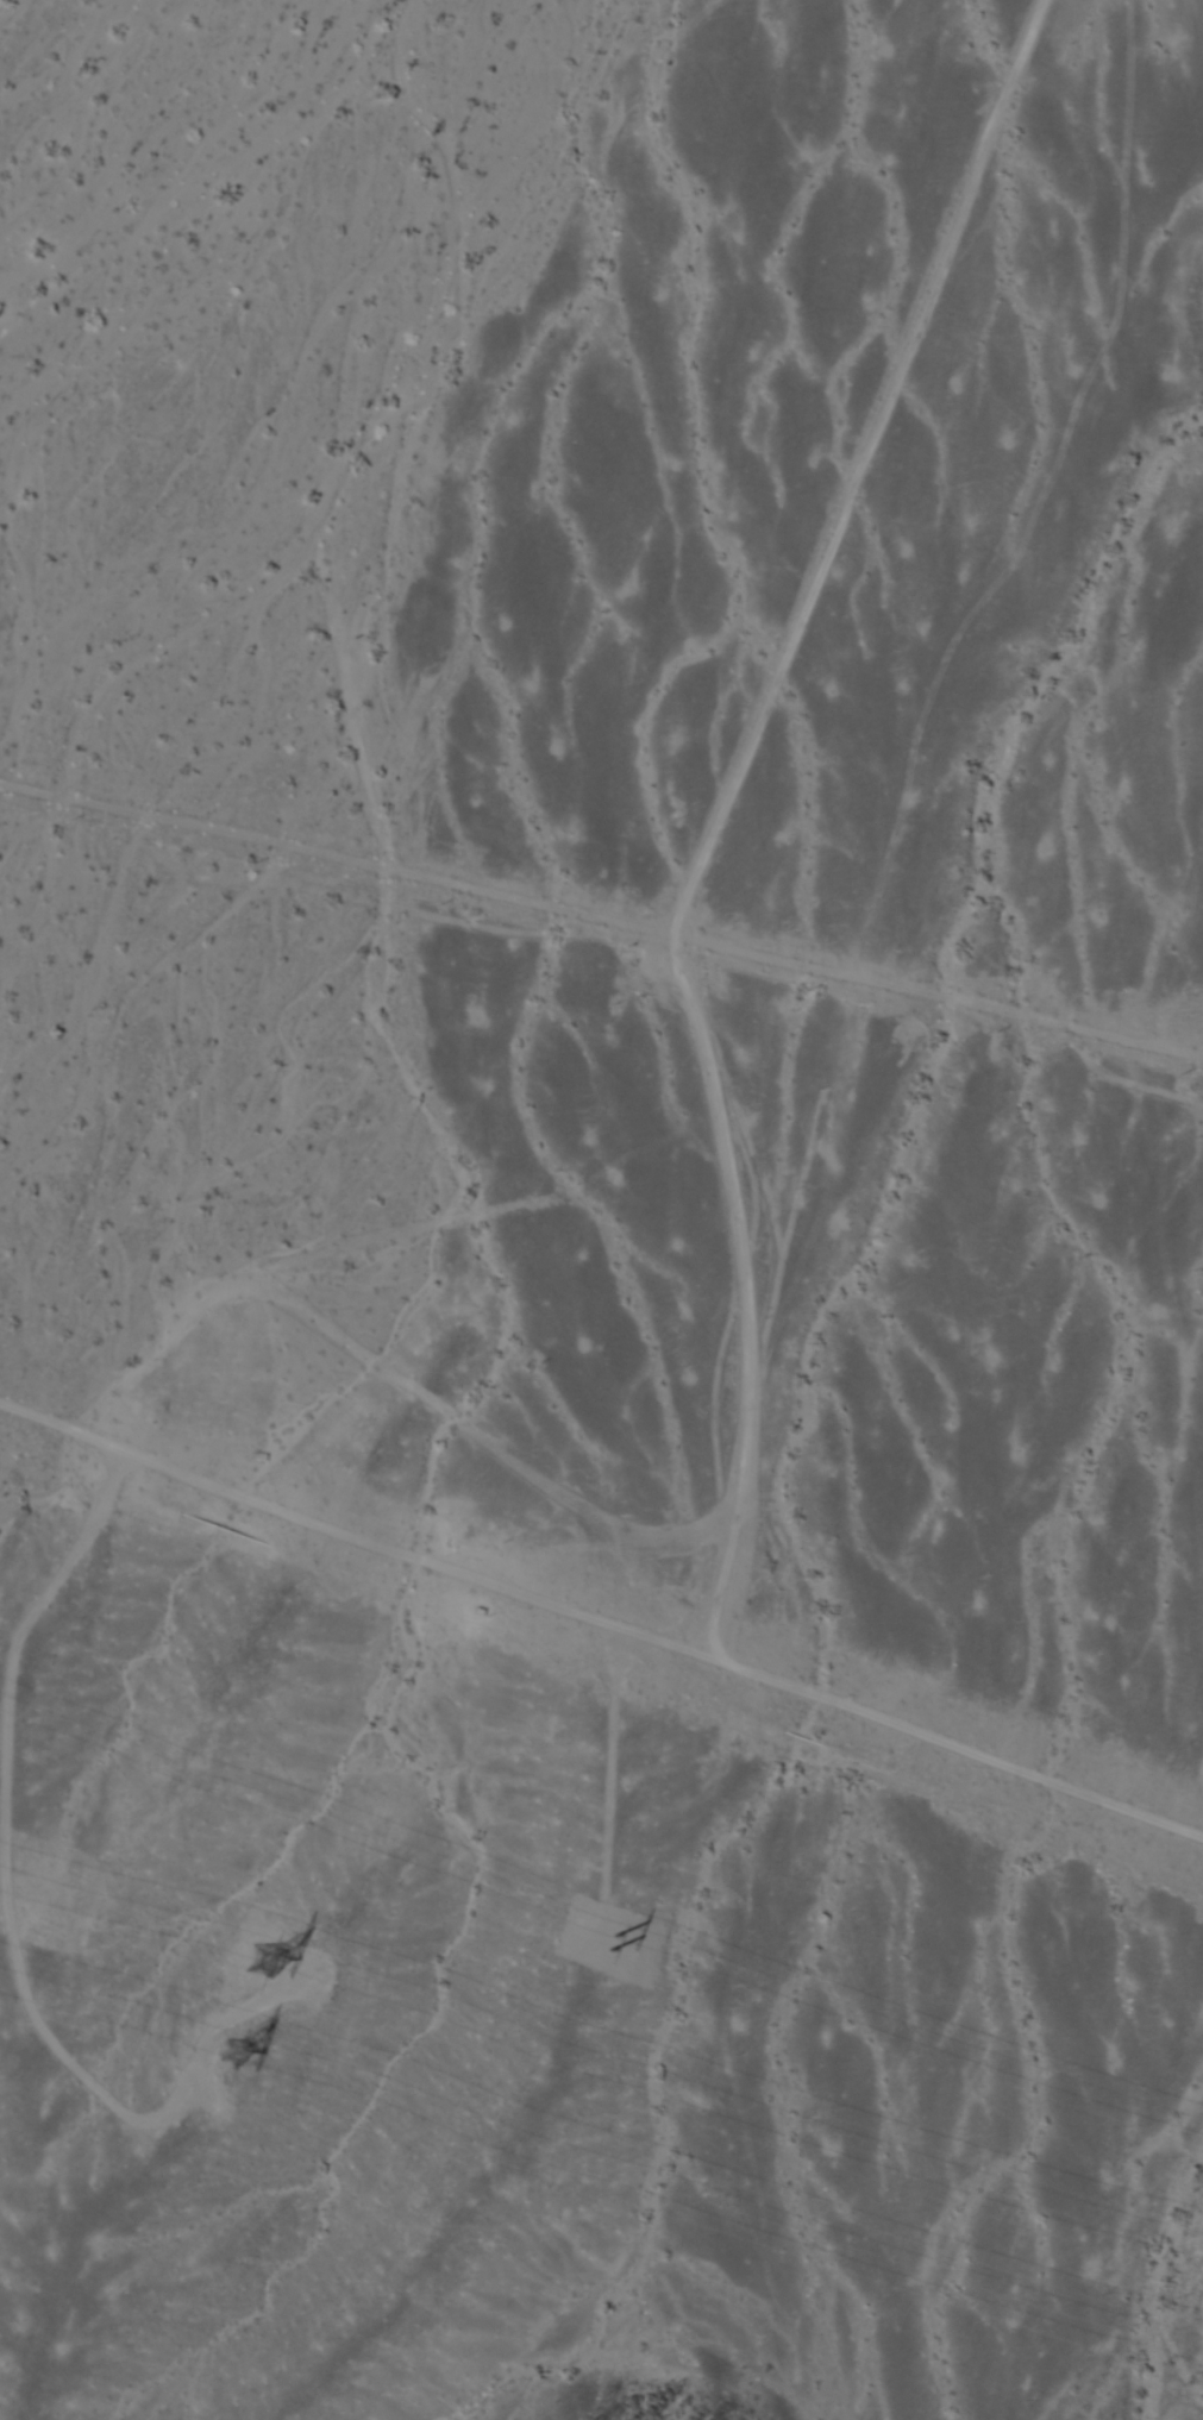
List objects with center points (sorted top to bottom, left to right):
road: (602, 919)
building: (477, 1607)
road: (601, 1620)
power tower: (609, 1948)
power tower: (255, 1963)
power tower: (221, 2046)

